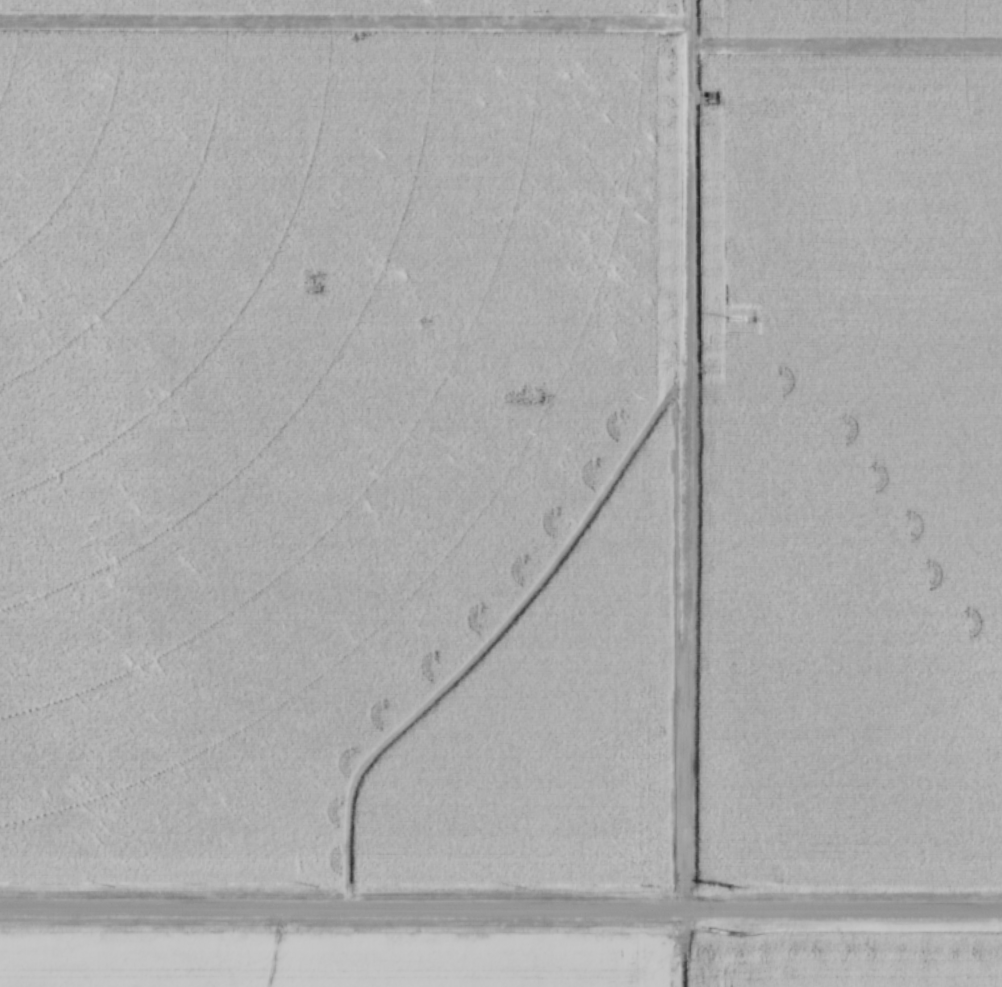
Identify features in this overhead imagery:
road: (501, 911)

